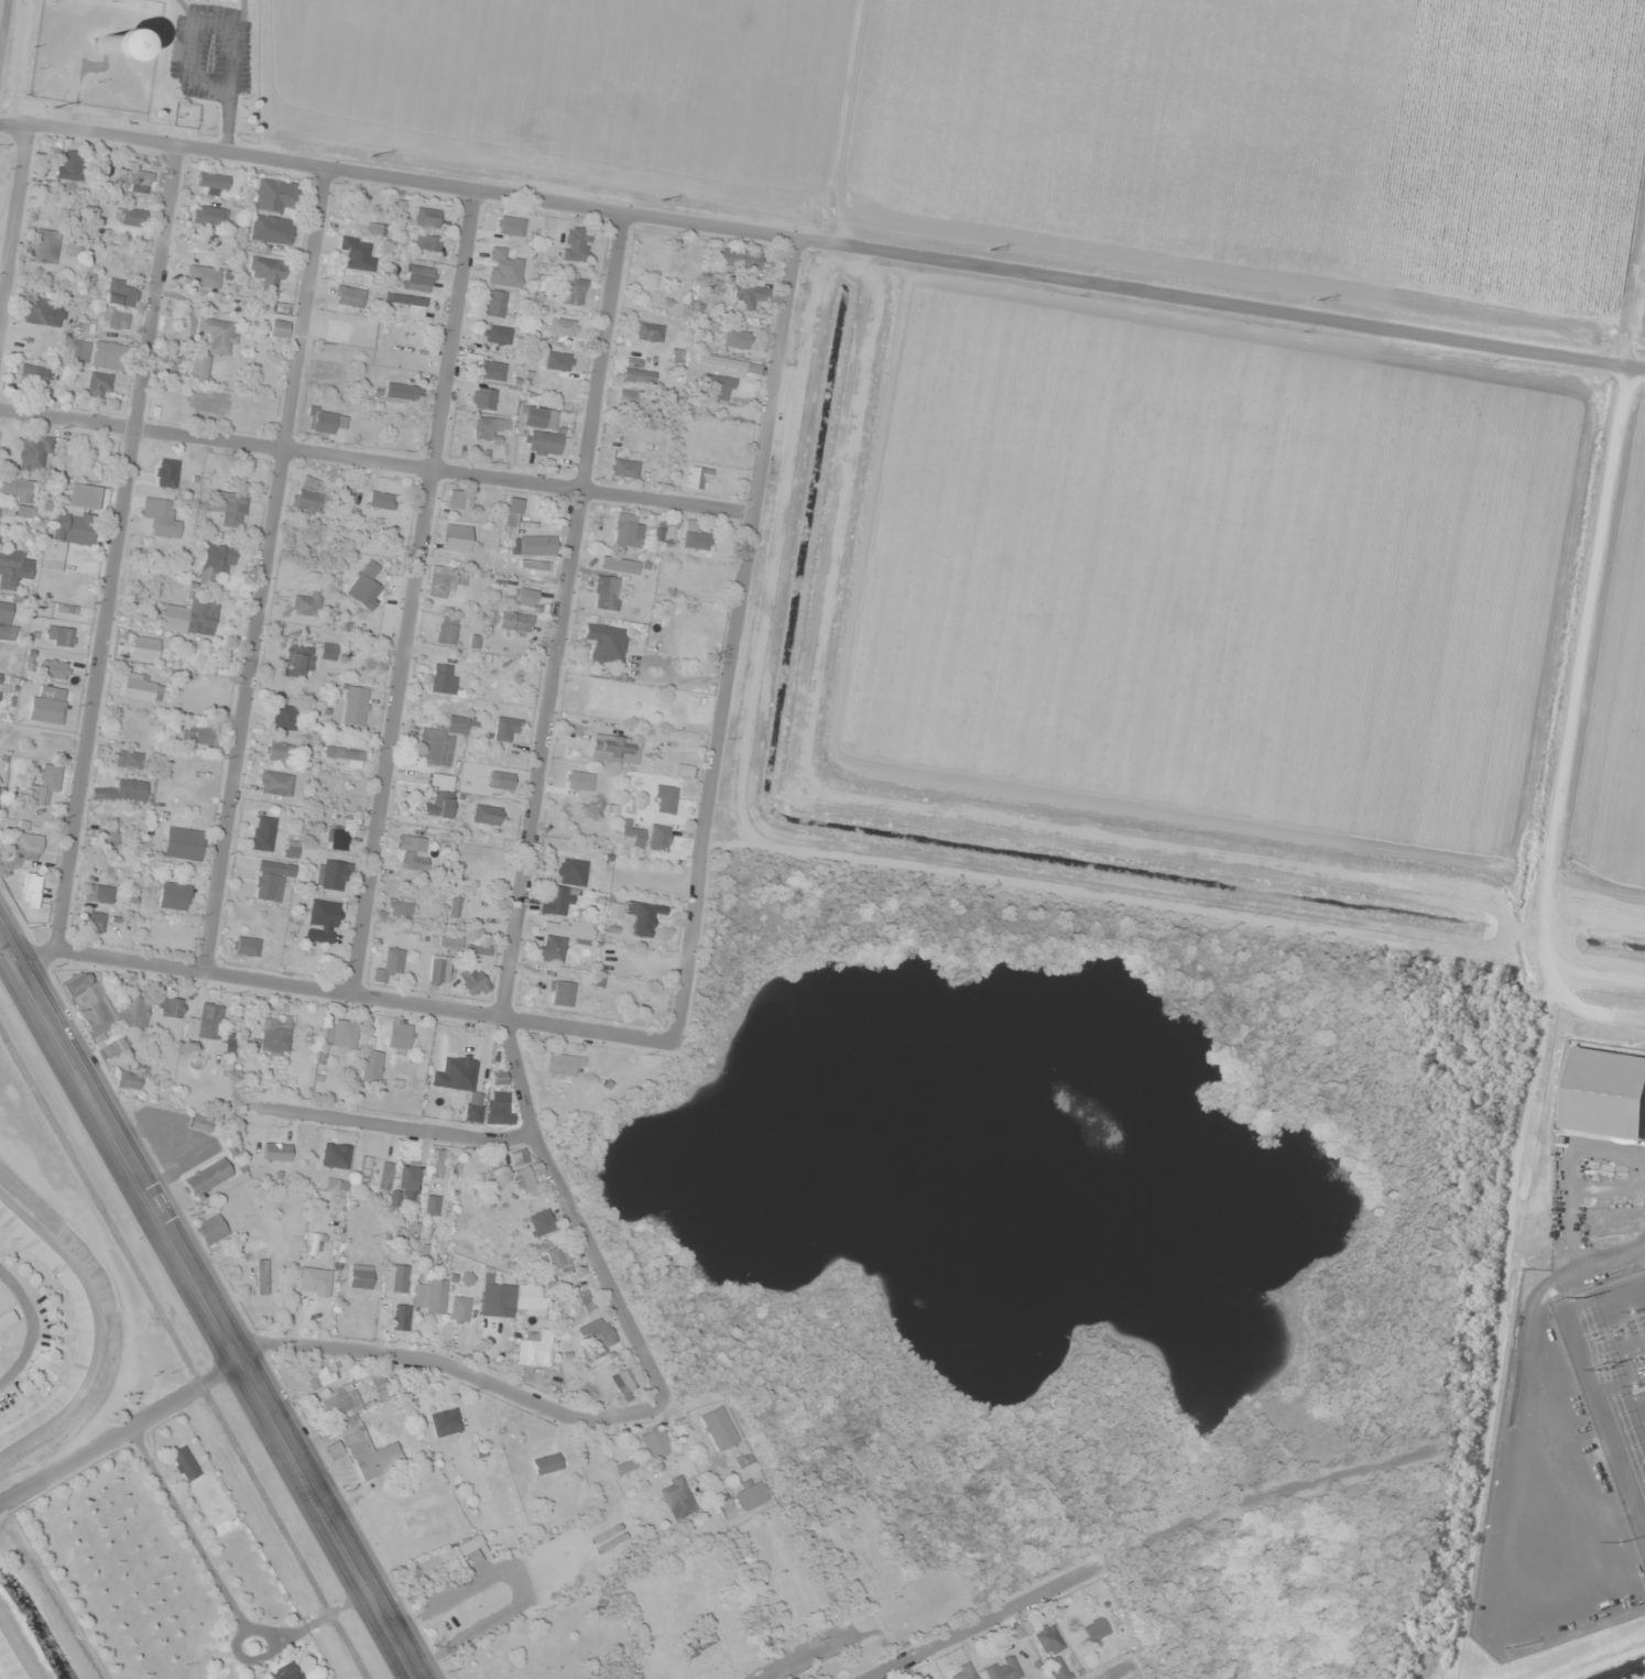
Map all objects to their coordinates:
railway: (3, 26)
building: (107, 44)
building: (72, 166)
road: (397, 176)
building: (133, 181)
building: (213, 181)
building: (272, 195)
building: (209, 215)
building: (132, 217)
building: (426, 217)
road: (13, 222)
building: (511, 227)
building: (271, 229)
building: (375, 229)
building: (427, 242)
building: (576, 242)
building: (45, 247)
building: (357, 253)
building: (658, 257)
building: (740, 259)
building: (266, 273)
building: (207, 274)
building: (418, 277)
building: (506, 279)
building: (573, 291)
building: (121, 292)
building: (752, 296)
building: (404, 298)
road: (1220, 302)
building: (493, 303)
building: (281, 309)
building: (44, 310)
building: (742, 317)
building: (116, 318)
building: (280, 328)
building: (562, 329)
building: (647, 331)
building: (218, 335)
building: (495, 335)
building: (737, 338)
building: (26, 339)
building: (80, 351)
building: (108, 356)
building: (491, 362)
building: (729, 363)
building: (199, 368)
building: (636, 372)
building: (563, 377)
building: (32, 379)
building: (98, 384)
building: (719, 386)
building: (401, 391)
building: (482, 399)
building: (633, 400)
building: (538, 417)
building: (325, 419)
building: (407, 425)
building: (488, 427)
building: (543, 443)
building: (34, 450)
road: (377, 461)
building: (624, 468)
building: (698, 476)
building: (15, 488)
building: (309, 497)
building: (380, 500)
building: (459, 500)
building: (229, 508)
building: (512, 513)
building: (164, 520)
building: (72, 524)
building: (628, 531)
building: (663, 533)
building: (456, 534)
building: (695, 536)
road: (116, 547)
building: (215, 562)
building: (533, 564)
building: (619, 564)
road: (266, 568)
building: (13, 570)
building: (445, 580)
building: (366, 585)
road: (415, 590)
building: (606, 592)
building: (525, 597)
building: (307, 599)
road: (563, 611)
building: (190, 618)
building: (6, 621)
building: (513, 623)
building: (447, 630)
building: (61, 635)
road: (734, 640)
building: (606, 642)
building: (144, 648)
building: (297, 663)
building: (55, 668)
building: (0, 676)
building: (444, 678)
building: (142, 688)
building: (52, 704)
building: (355, 705)
building: (680, 709)
building: (284, 717)
building: (458, 724)
building: (506, 729)
building: (201, 734)
building: (434, 745)
building: (279, 749)
building: (615, 749)
building: (679, 749)
building: (346, 755)
building: (128, 760)
building: (501, 779)
building: (276, 783)
building: (45, 785)
building: (586, 786)
building: (123, 789)
building: (665, 799)
building: (440, 804)
building: (488, 815)
building: (263, 832)
building: (105, 836)
building: (631, 836)
building: (658, 837)
building: (339, 839)
building: (183, 843)
building: (292, 848)
building: (26, 851)
building: (414, 852)
building: (570, 871)
building: (331, 874)
building: (271, 880)
building: (98, 894)
building: (174, 895)
building: (556, 901)
building: (455, 906)
building: (400, 907)
building: (641, 916)
building: (323, 920)
building: (92, 922)
building: (559, 937)
building: (247, 946)
building: (393, 960)
building: (304, 961)
building: (440, 969)
building: (473, 981)
road: (344, 990)
building: (562, 993)
building: (101, 1005)
building: (171, 1006)
building: (206, 1022)
building: (275, 1033)
building: (340, 1033)
building: (400, 1037)
building: (113, 1045)
building: (564, 1064)
building: (371, 1066)
building: (457, 1072)
building: (129, 1080)
building: (1605, 1094)
building: (500, 1108)
building: (473, 1113)
building: (200, 1123)
road: (393, 1125)
building: (336, 1155)
building: (519, 1156)
building: (437, 1163)
building: (407, 1175)
building: (207, 1177)
building: (385, 1177)
building: (525, 1179)
building: (337, 1185)
building: (432, 1204)
road: (574, 1211)
building: (542, 1222)
building: (211, 1229)
building: (556, 1257)
building: (360, 1275)
building: (262, 1276)
building: (400, 1278)
building: (314, 1280)
building: (431, 1296)
building: (497, 1298)
building: (531, 1300)
building: (587, 1300)
road: (213, 1305)
building: (460, 1308)
building: (401, 1317)
building: (6, 1318)
road: (91, 1323)
road: (30, 1326)
building: (600, 1341)
building: (535, 1348)
railway: (184, 1353)
road: (458, 1367)
building: (360, 1371)
building: (322, 1375)
power substation: (1612, 1377)
building: (625, 1382)
building: (341, 1404)
building: (446, 1421)
building: (719, 1428)
road: (122, 1430)
building: (655, 1441)
building: (368, 1446)
road: (3, 1449)
building: (334, 1449)
building: (184, 1462)
building: (548, 1462)
building: (752, 1494)
building: (677, 1497)
building: (216, 1503)
road: (1137, 1544)
building: (456, 1609)
building: (1096, 1629)
building: (1048, 1638)
building: (697, 1642)
road: (14, 1654)
building: (1058, 1668)
building: (1002, 1669)
road: (1115, 1670)
building: (963, 1672)
building: (282, 1673)

